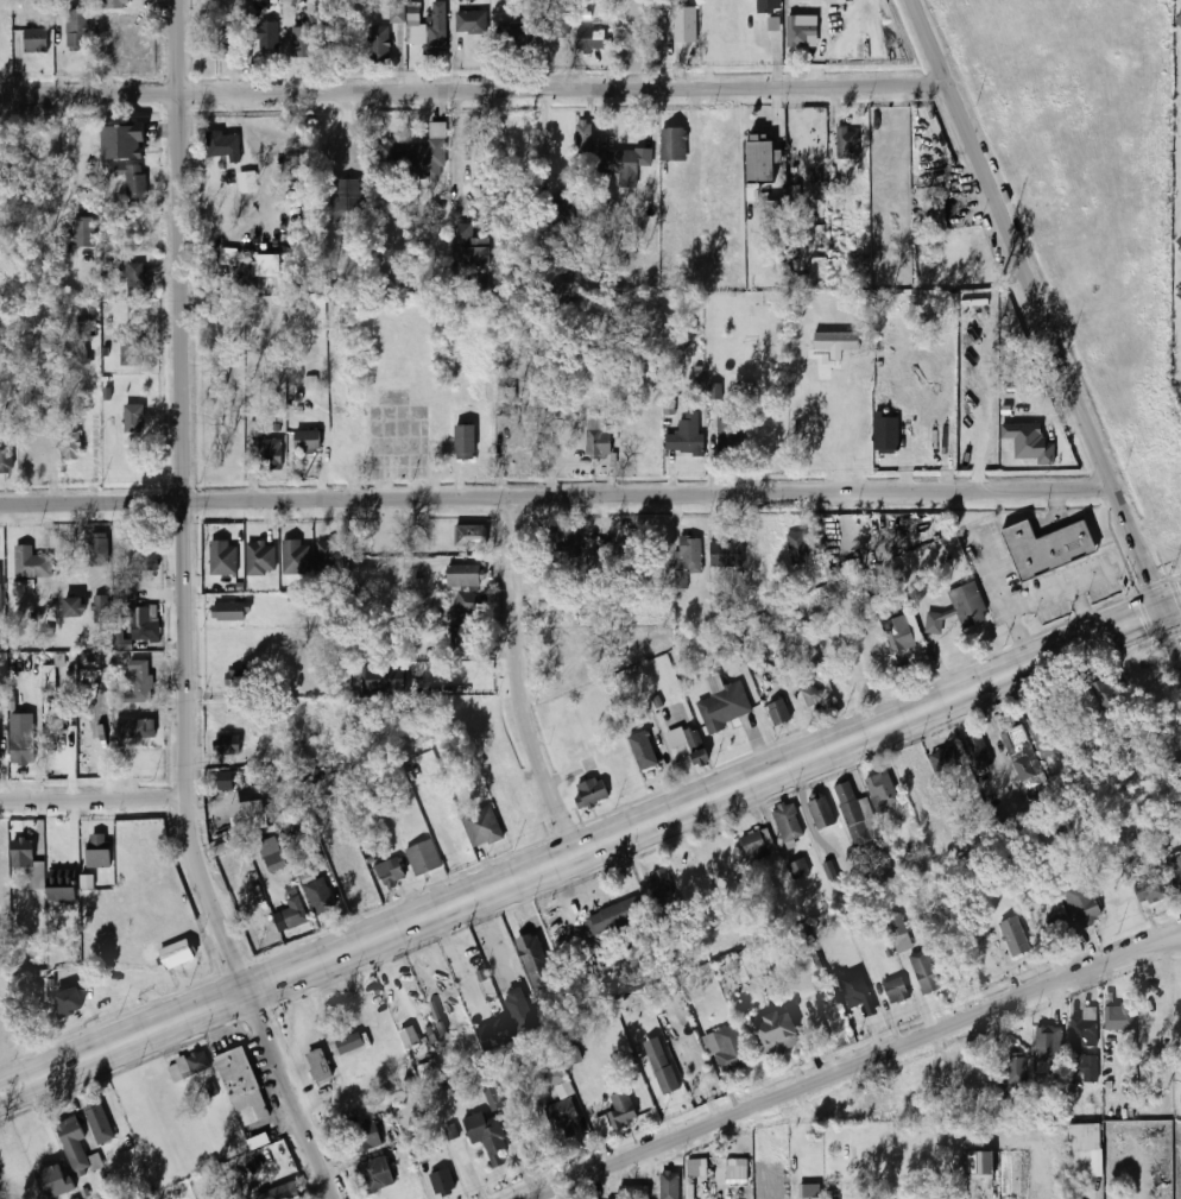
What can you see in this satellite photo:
building: (836, 1)
building: (118, 2)
building: (768, 6)
building: (286, 8)
building: (397, 11)
building: (1179, 20)
building: (470, 23)
building: (555, 24)
building: (775, 24)
building: (1179, 24)
building: (686, 25)
building: (75, 27)
building: (800, 33)
building: (267, 36)
building: (512, 36)
building: (428, 38)
building: (590, 39)
building: (36, 40)
building: (219, 42)
building: (303, 43)
building: (378, 43)
road: (836, 44)
road: (472, 91)
building: (583, 140)
building: (122, 144)
building: (674, 144)
building: (223, 146)
road: (456, 150)
building: (390, 152)
building: (429, 153)
building: (852, 156)
road: (62, 159)
building: (760, 162)
building: (624, 163)
building: (133, 183)
building: (346, 200)
building: (820, 206)
building: (775, 208)
building: (567, 210)
building: (936, 214)
building: (83, 233)
building: (821, 233)
building: (470, 247)
building: (228, 255)
building: (269, 265)
building: (820, 270)
building: (134, 279)
building: (1180, 294)
road: (1044, 332)
building: (838, 341)
building: (131, 351)
building: (75, 360)
building: (311, 383)
building: (714, 391)
building: (133, 418)
building: (255, 428)
building: (811, 433)
building: (885, 433)
building: (686, 435)
building: (730, 435)
building: (598, 438)
building: (308, 441)
building: (1029, 441)
building: (466, 442)
building: (70, 446)
building: (272, 455)
building: (6, 459)
building: (31, 461)
road: (554, 499)
road: (1054, 506)
building: (470, 536)
building: (871, 538)
building: (564, 542)
building: (1051, 548)
building: (97, 549)
building: (797, 549)
building: (726, 554)
building: (147, 555)
building: (295, 556)
building: (330, 557)
building: (222, 559)
building: (260, 560)
building: (687, 560)
building: (31, 564)
building: (831, 568)
building: (466, 575)
building: (0, 591)
road: (1042, 599)
building: (469, 604)
building: (74, 607)
road: (1169, 607)
building: (889, 608)
building: (965, 608)
building: (99, 610)
road: (185, 612)
building: (230, 612)
traffic signals: (1158, 612)
building: (138, 627)
road: (1109, 632)
building: (902, 633)
building: (463, 640)
building: (870, 645)
building: (49, 671)
building: (384, 680)
building: (139, 682)
road: (519, 683)
road: (466, 684)
building: (813, 696)
building: (1104, 696)
building: (722, 707)
building: (776, 714)
building: (228, 719)
building: (133, 728)
building: (0, 730)
road: (994, 730)
building: (1047, 733)
building: (1090, 739)
building: (226, 744)
building: (696, 746)
building: (643, 750)
building: (978, 752)
building: (21, 755)
building: (948, 761)
building: (1028, 770)
building: (226, 780)
building: (590, 791)
building: (882, 791)
road: (93, 800)
building: (821, 813)
building: (853, 813)
building: (251, 816)
building: (787, 823)
building: (482, 827)
building: (754, 846)
building: (99, 851)
building: (272, 853)
building: (422, 858)
building: (26, 862)
building: (797, 867)
building: (1176, 869)
building: (831, 870)
building: (387, 872)
road: (530, 876)
building: (661, 885)
building: (1149, 889)
building: (62, 892)
building: (318, 895)
building: (1084, 905)
building: (291, 914)
building: (612, 917)
building: (896, 925)
building: (1015, 938)
road: (1166, 941)
building: (903, 942)
building: (179, 952)
building: (533, 961)
building: (743, 967)
road: (459, 968)
building: (926, 971)
building: (437, 976)
building: (854, 990)
building: (896, 990)
building: (69, 1002)
building: (520, 1009)
building: (1119, 1017)
building: (835, 1021)
building: (494, 1035)
building: (410, 1037)
building: (778, 1040)
building: (349, 1043)
building: (1047, 1045)
building: (727, 1049)
building: (1085, 1050)
building: (573, 1055)
road: (859, 1062)
building: (318, 1065)
building: (189, 1066)
building: (425, 1071)
building: (1015, 1072)
building: (966, 1075)
building: (555, 1077)
building: (668, 1080)
building: (245, 1093)
building: (494, 1098)
building: (617, 1113)
building: (561, 1118)
building: (99, 1124)
building: (453, 1131)
building: (362, 1137)
building: (487, 1137)
building: (75, 1147)
building: (1086, 1150)
building: (980, 1165)
building: (696, 1168)
building: (737, 1168)
building: (377, 1175)
building: (55, 1181)
building: (442, 1182)
building: (669, 1185)
building: (809, 1191)
building: (632, 1192)
building: (286, 1194)

